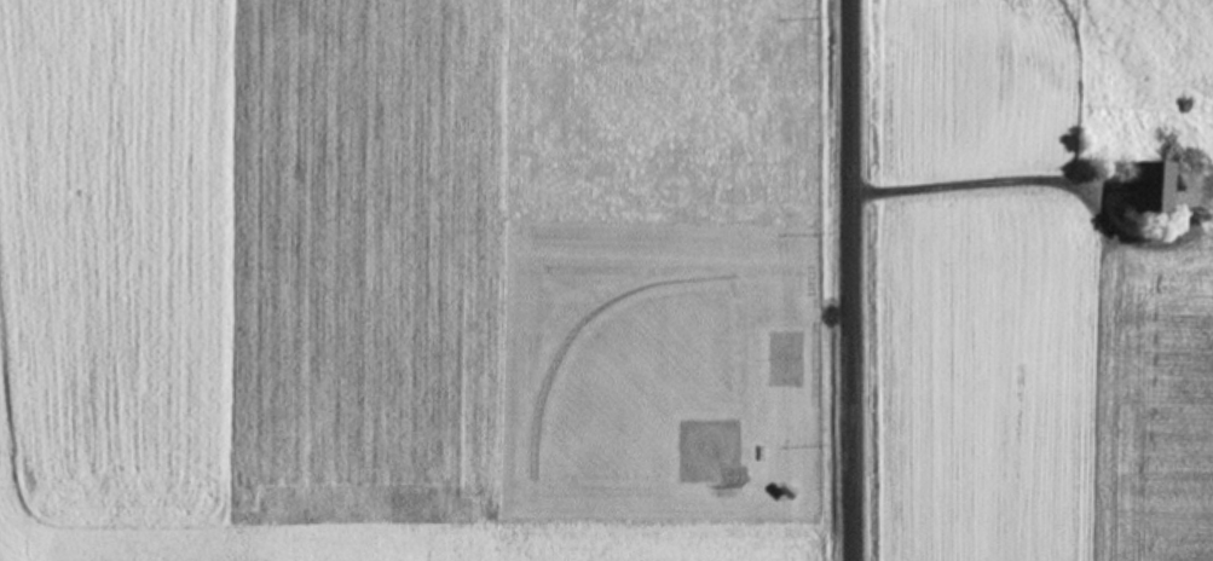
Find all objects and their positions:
building: (1144, 187)
road: (857, 279)

